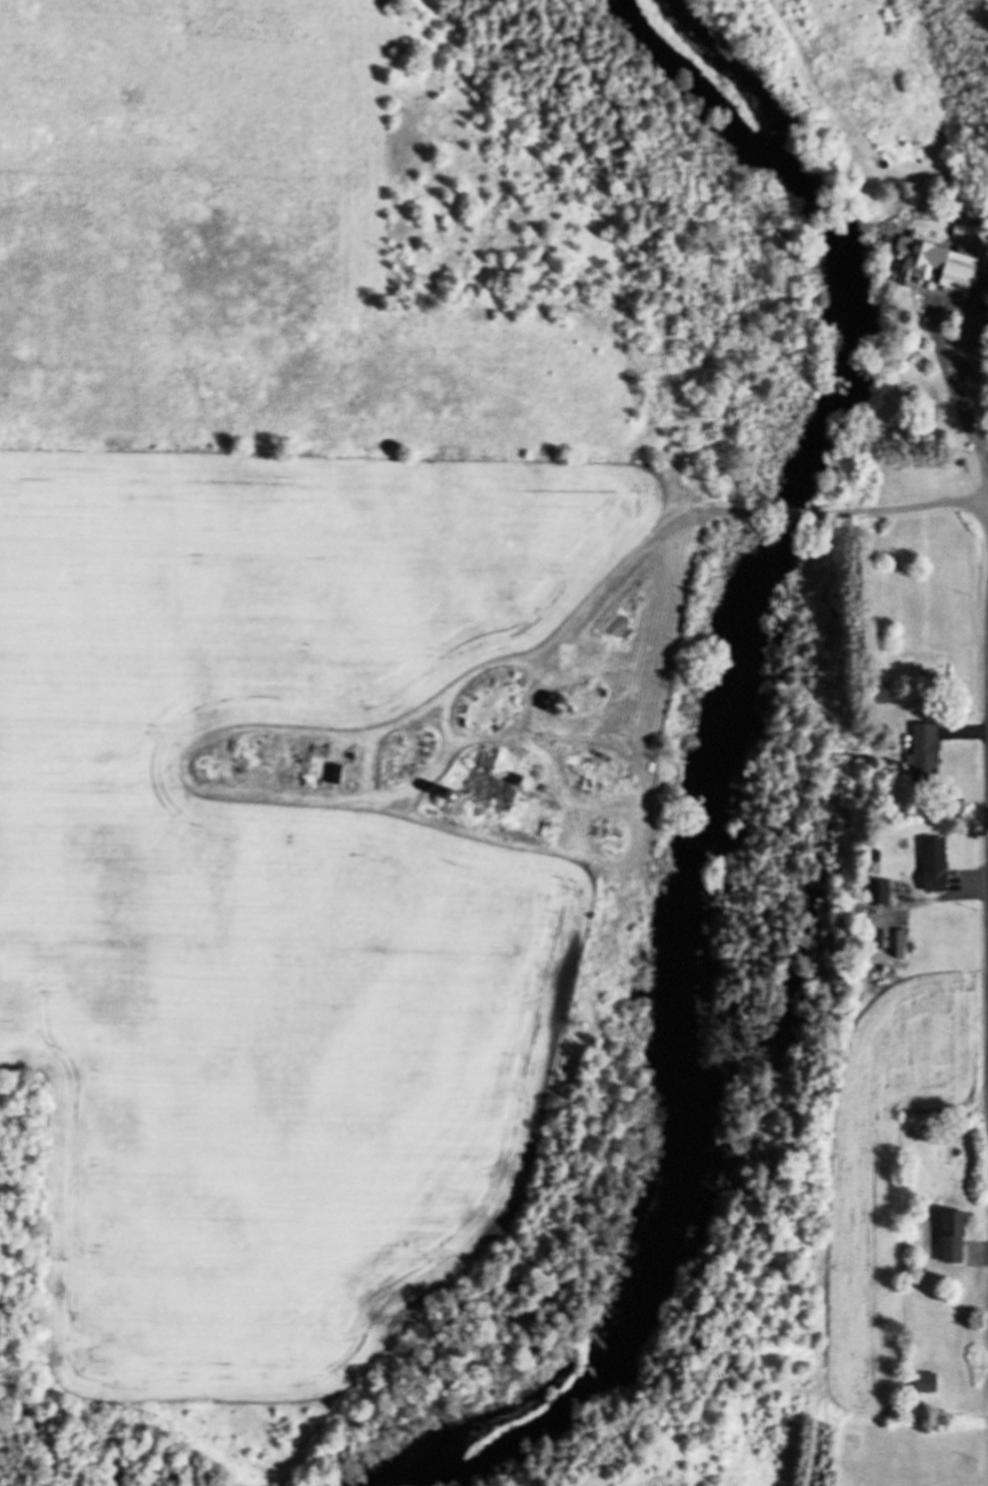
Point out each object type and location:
building: (963, 231)
building: (924, 256)
road: (906, 505)
road: (790, 510)
road: (624, 568)
building: (878, 692)
building: (924, 752)
building: (332, 772)
river: (705, 778)
building: (480, 792)
building: (932, 863)
building: (878, 891)
building: (898, 942)
building: (950, 1236)
building: (923, 1381)

